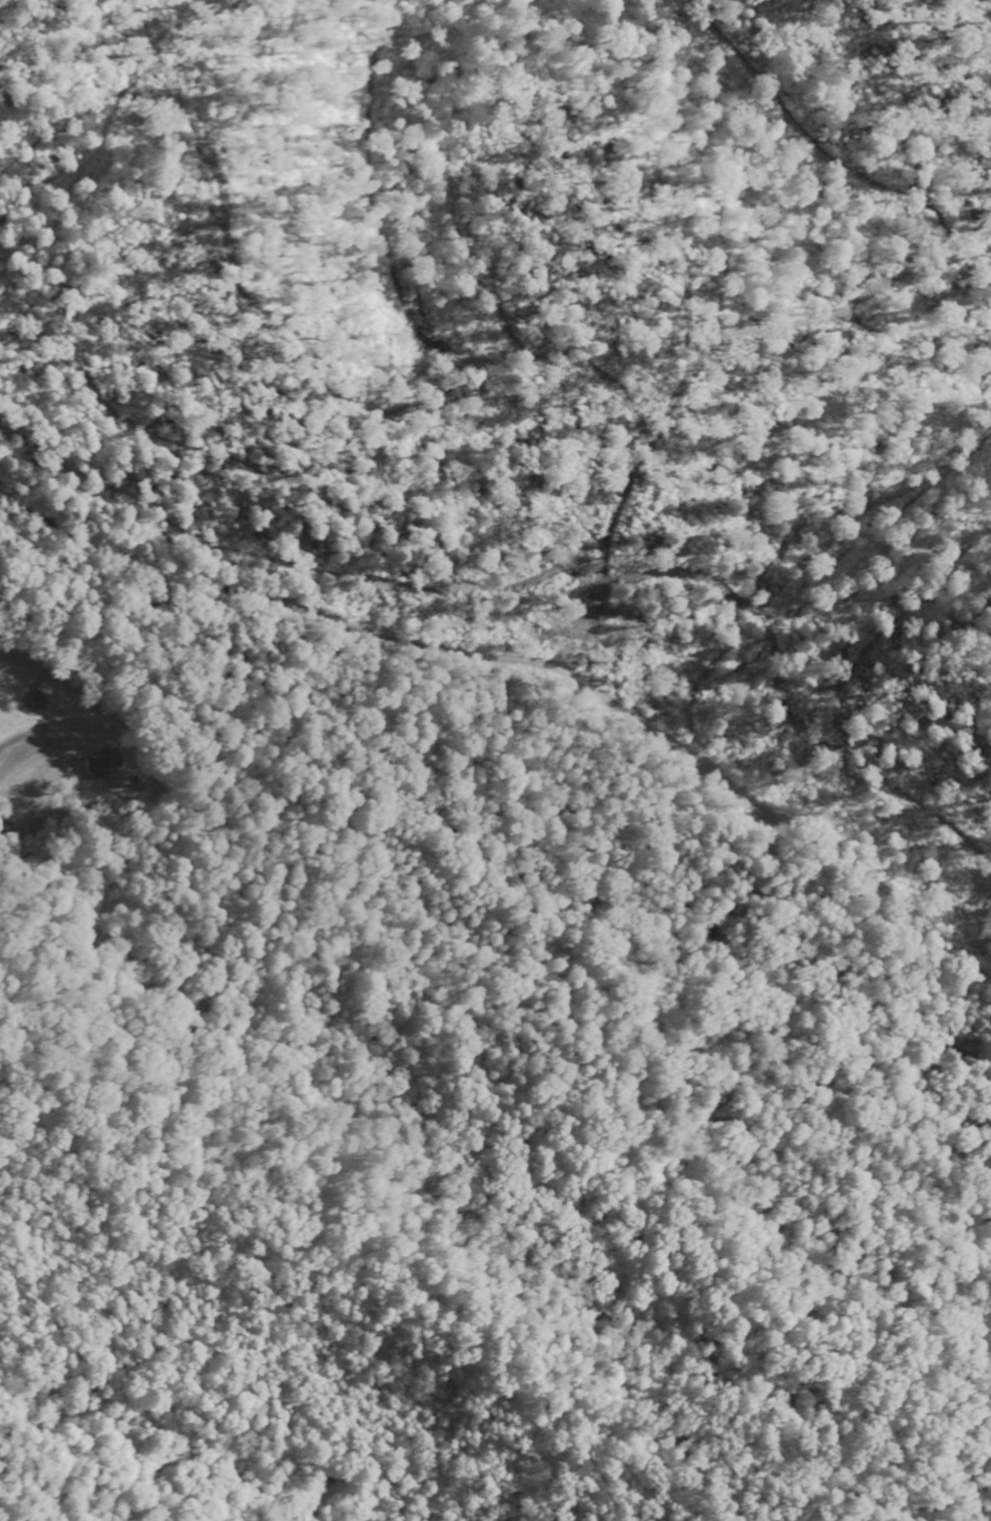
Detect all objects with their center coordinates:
road: (534, 664)
building: (43, 694)
building: (96, 766)
road: (85, 1130)

